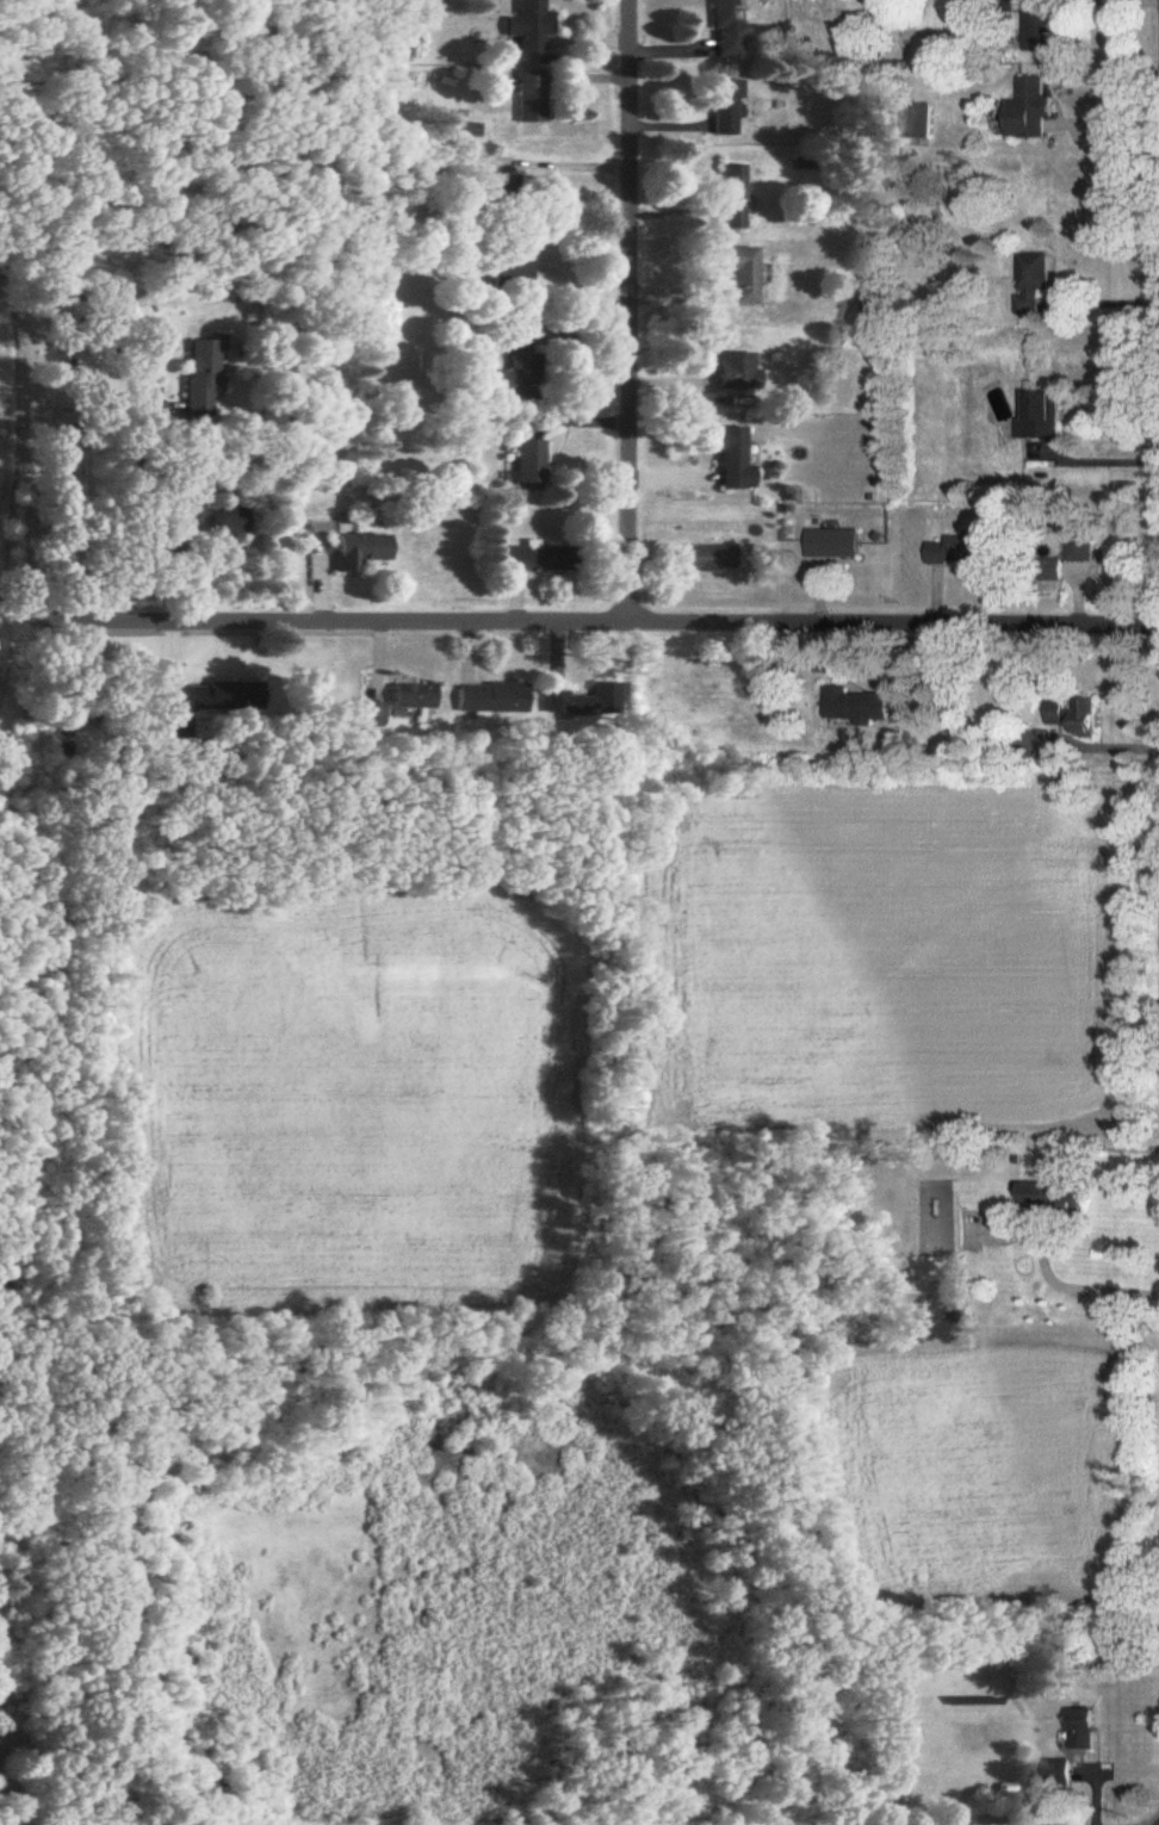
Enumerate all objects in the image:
building: (1039, 25)
building: (531, 26)
building: (732, 29)
building: (533, 97)
building: (726, 107)
building: (1033, 110)
road: (1103, 112)
building: (919, 122)
building: (504, 188)
building: (735, 203)
building: (514, 266)
building: (743, 274)
building: (1036, 284)
road: (1103, 298)
road: (626, 311)
building: (520, 366)
building: (738, 372)
building: (202, 377)
building: (1043, 418)
road: (1093, 455)
building: (736, 461)
road: (43, 465)
building: (531, 466)
road: (66, 476)
crop: (8, 499)
building: (231, 522)
building: (1084, 544)
building: (836, 545)
building: (361, 551)
building: (963, 552)
building: (539, 559)
building: (711, 559)
building: (1054, 571)
road: (597, 622)
building: (224, 697)
building: (414, 697)
building: (494, 699)
building: (585, 702)
building: (860, 707)
building: (1079, 715)
building: (1059, 1196)
road: (1070, 1289)
building: (911, 1298)
building: (1086, 1732)
building: (1062, 1775)

